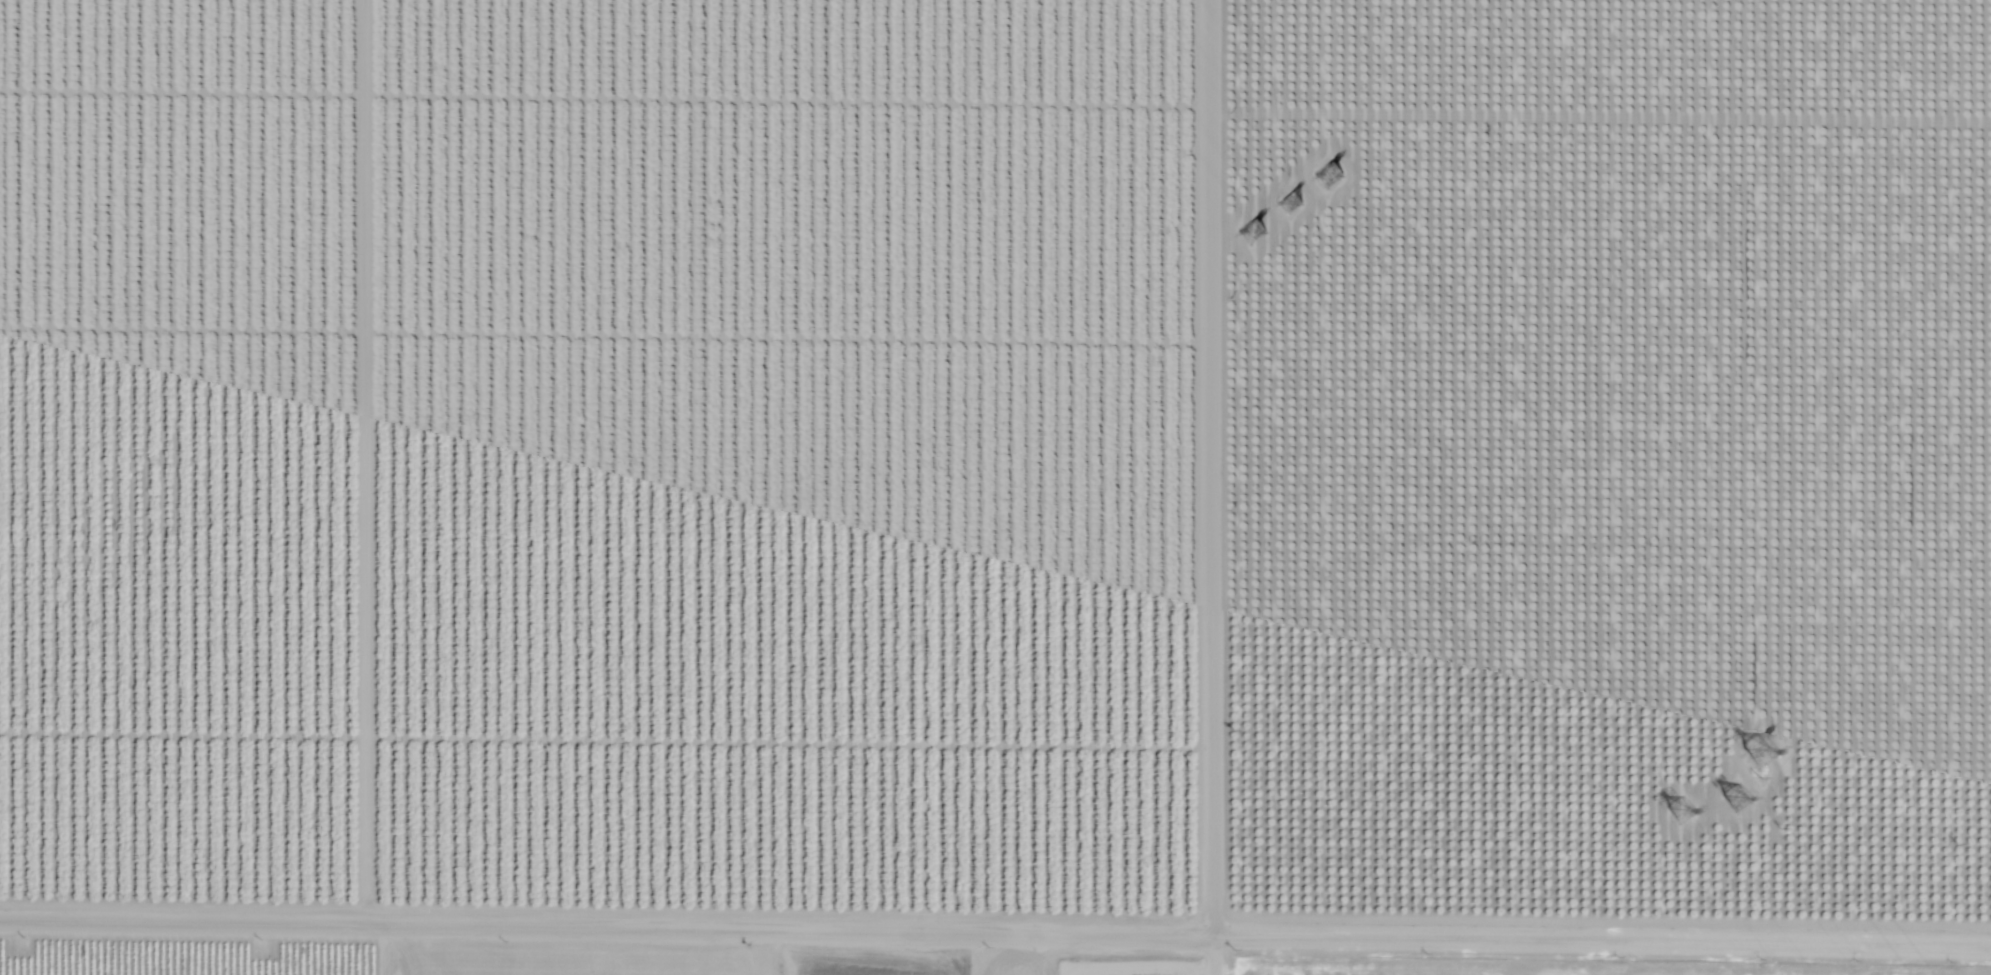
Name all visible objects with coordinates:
power tower: (1339, 177)
power tower: (1299, 201)
power tower: (1266, 243)
road: (1214, 487)
power tower: (1762, 756)
power tower: (1735, 794)
power tower: (1687, 815)
road: (995, 932)
crop: (807, 945)

